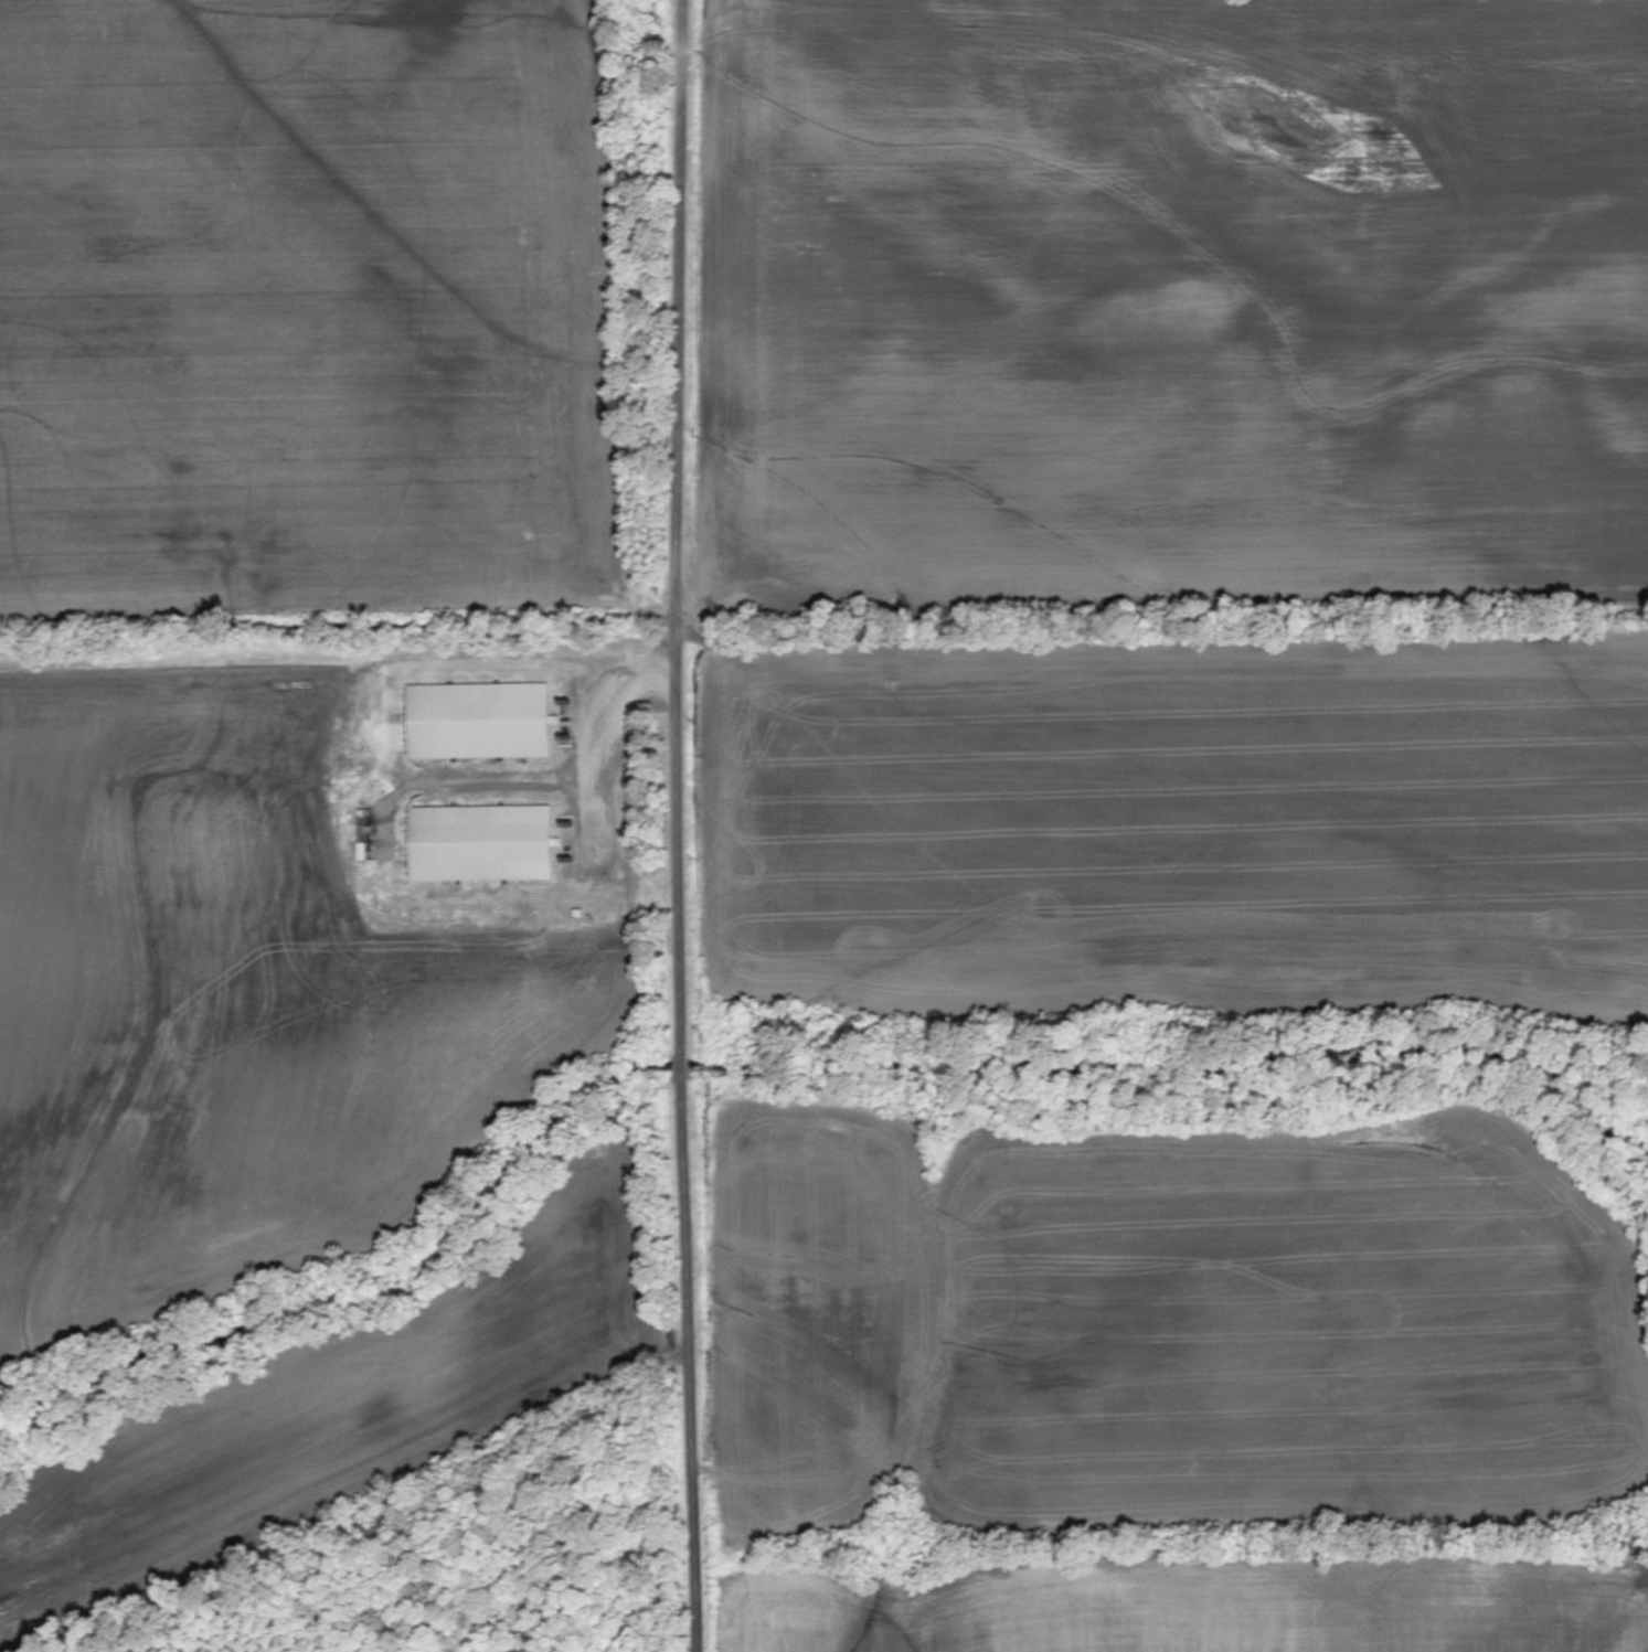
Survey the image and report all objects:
building: (482, 722)
road: (680, 825)
building: (485, 844)

